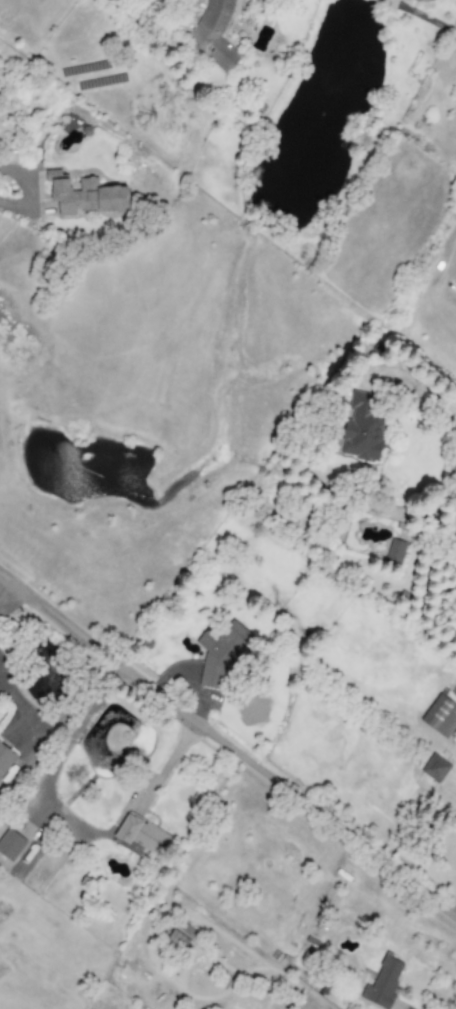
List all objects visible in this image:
road: (423, 15)
building: (214, 35)
building: (84, 195)
road: (8, 207)
road: (455, 257)
road: (413, 380)
building: (363, 427)
building: (395, 551)
building: (221, 651)
building: (440, 716)
road: (227, 747)
building: (5, 759)
building: (435, 768)
road: (69, 820)
building: (142, 835)
building: (10, 844)
building: (180, 936)
building: (382, 983)

